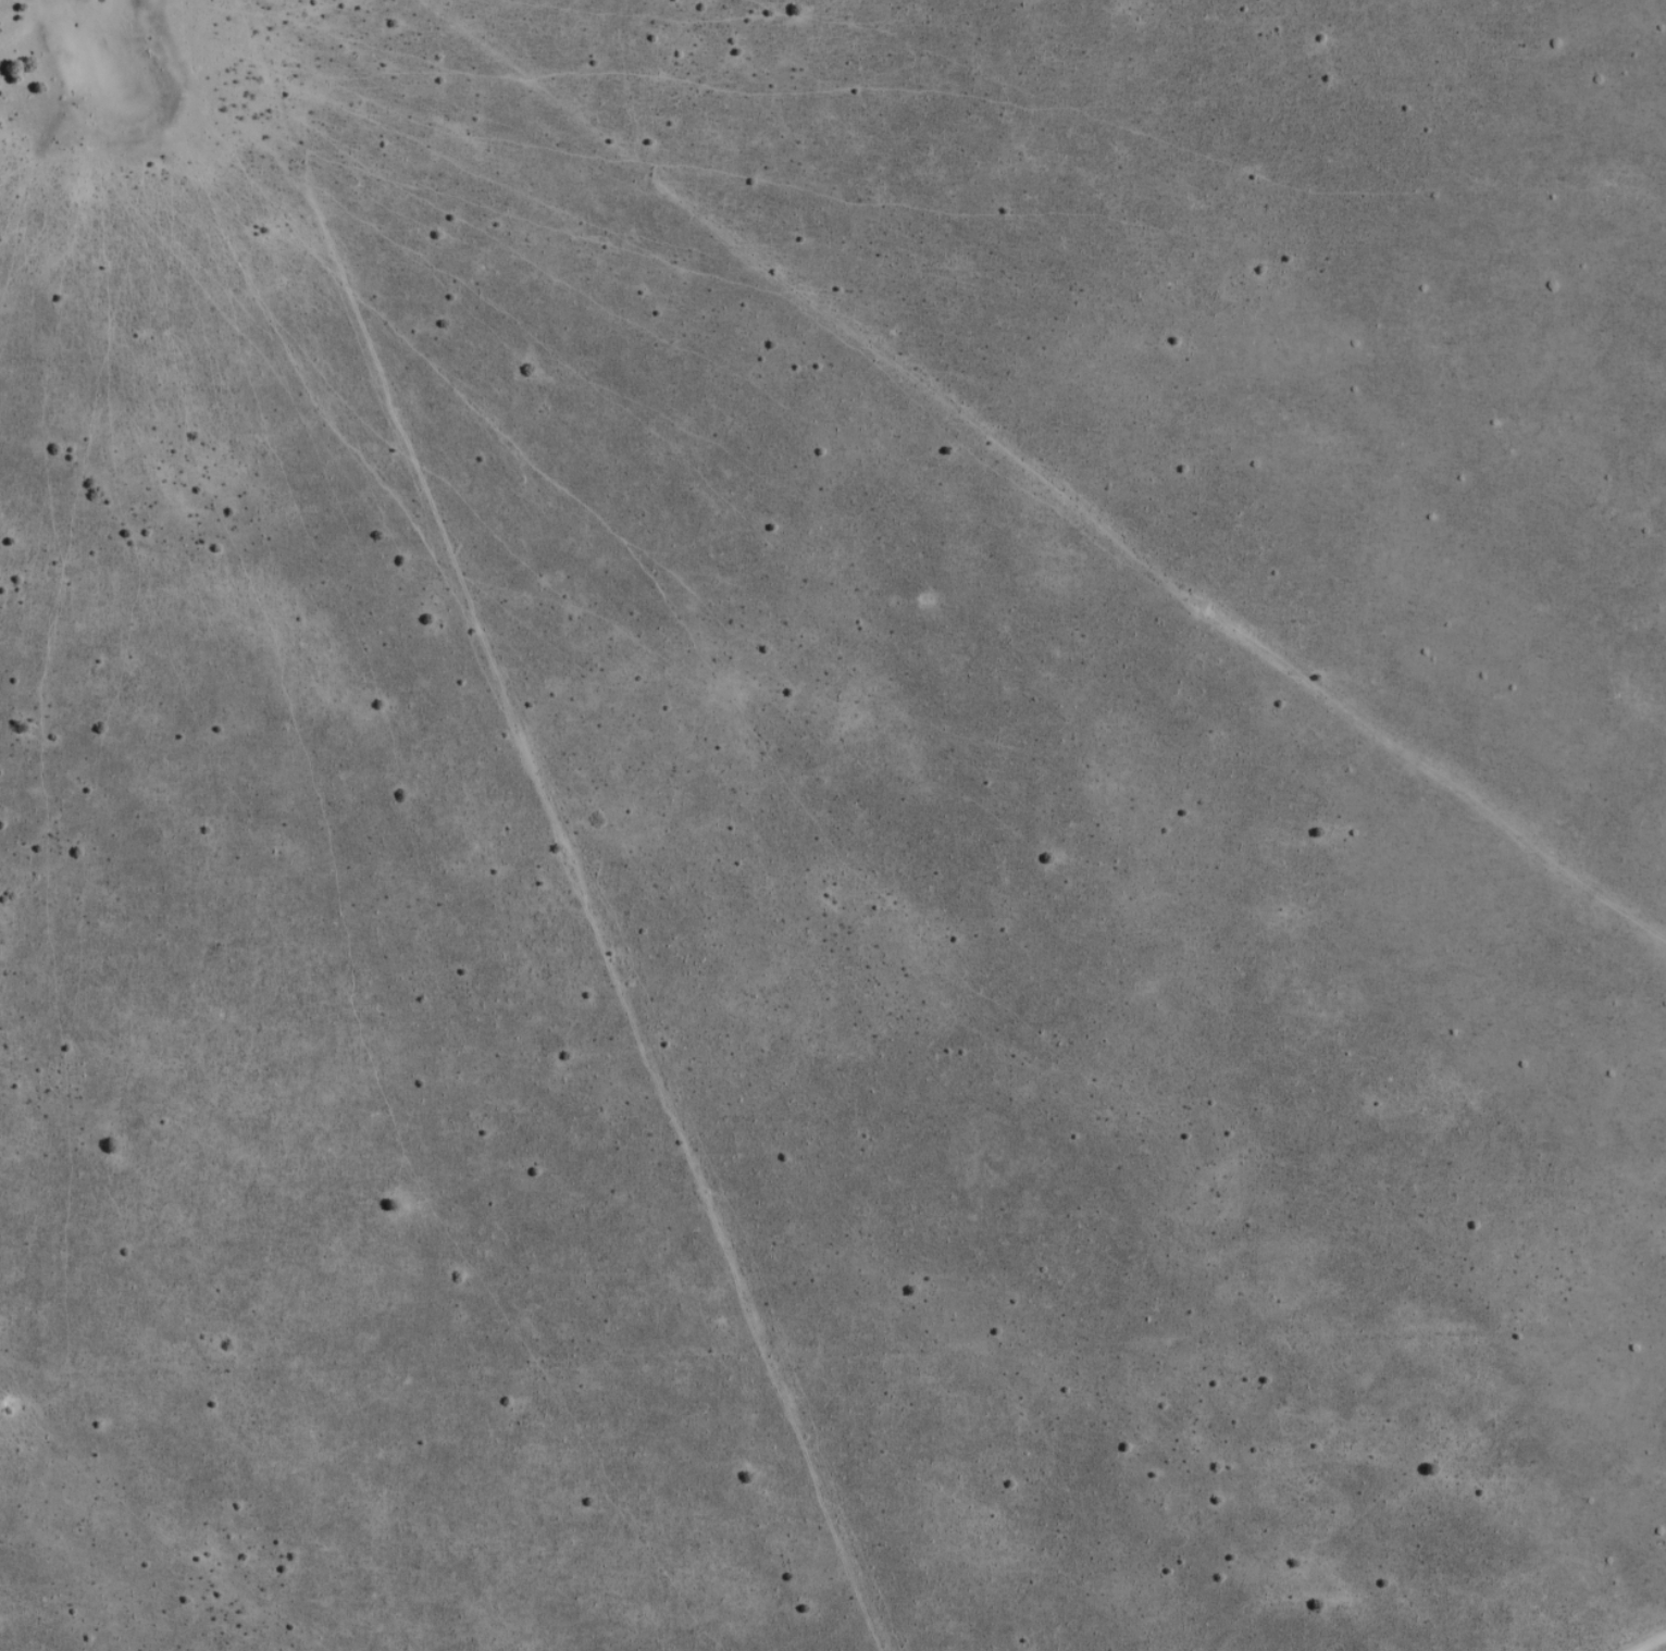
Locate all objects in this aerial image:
road: (618, 35)
road: (1054, 456)
road: (1649, 1641)

